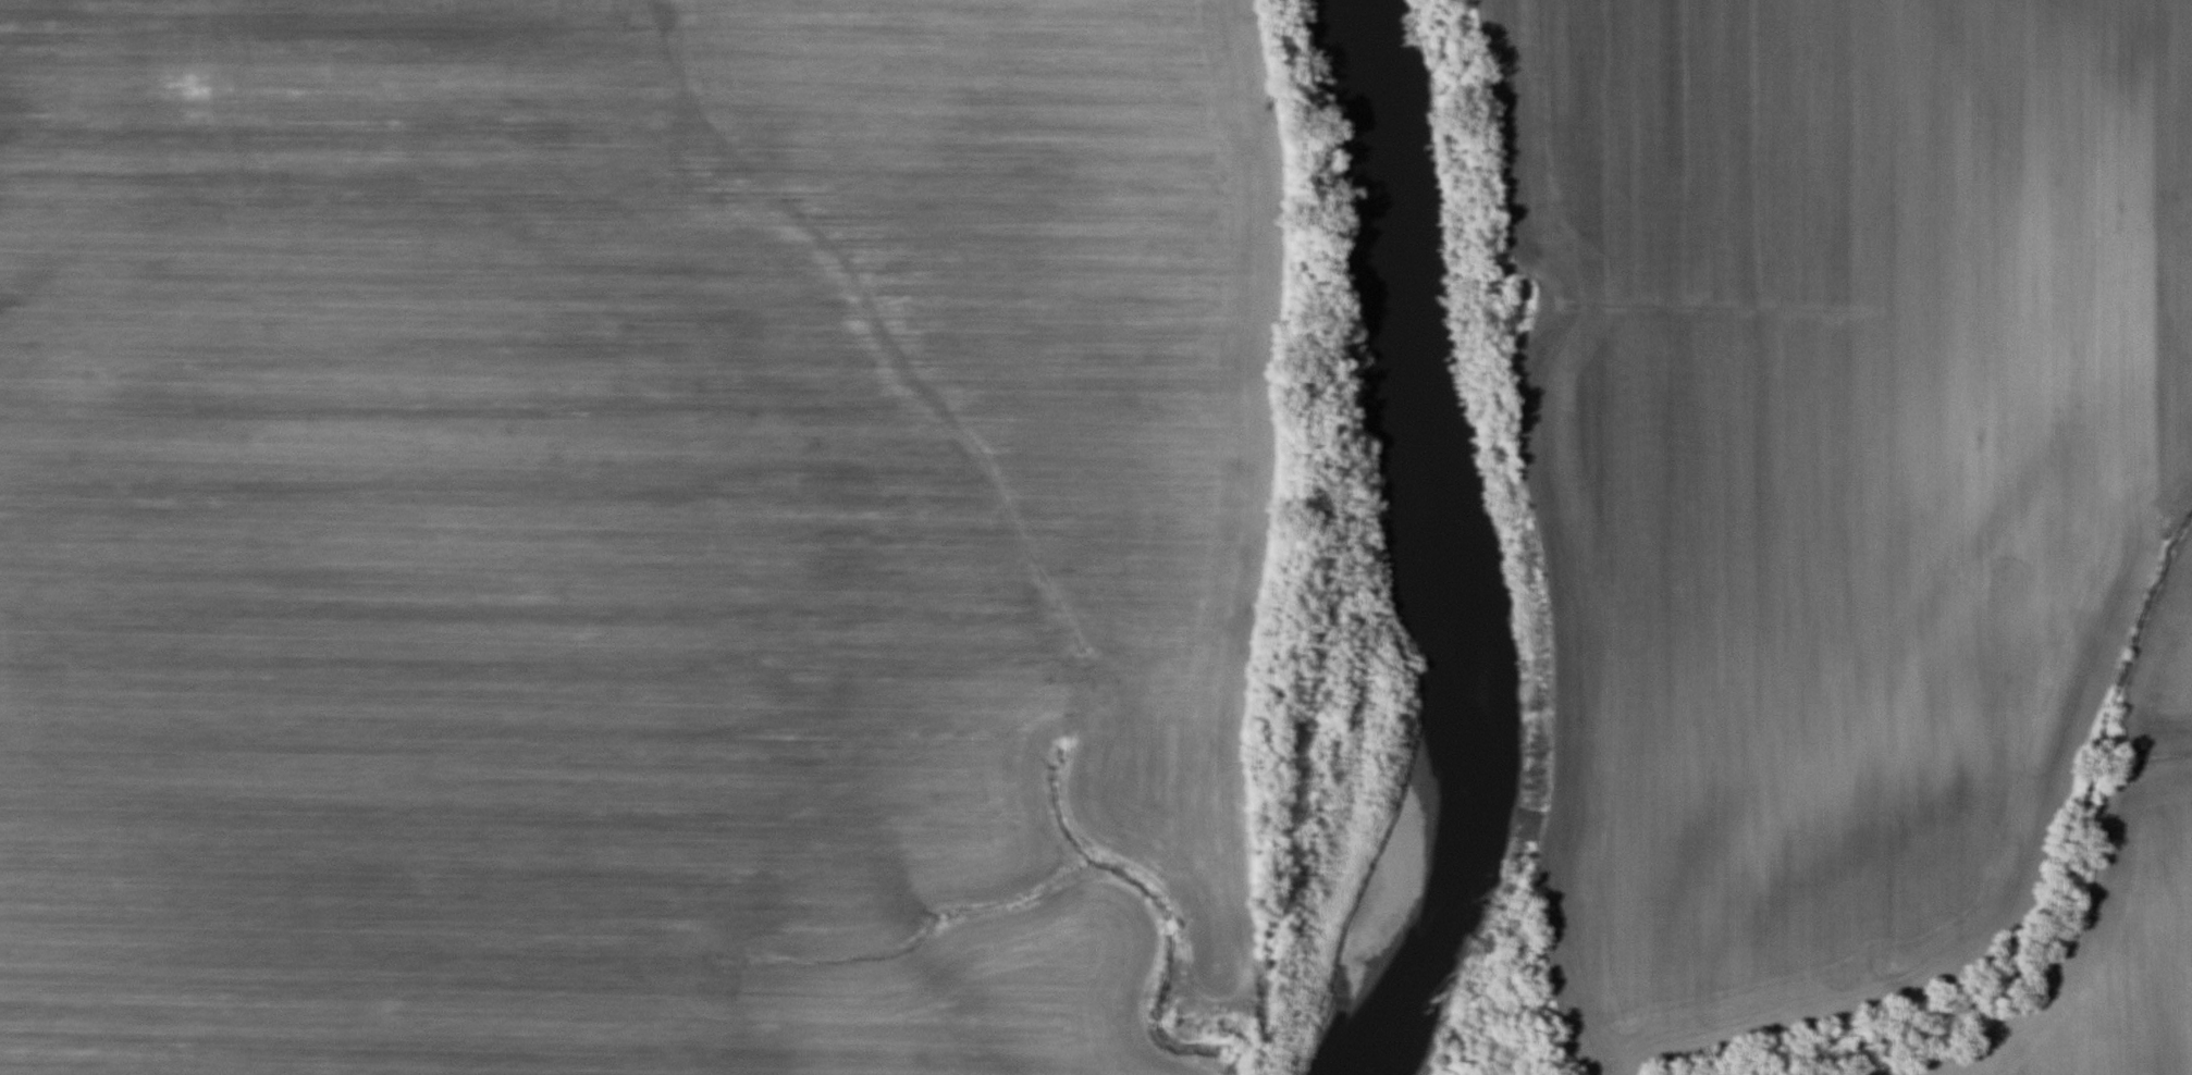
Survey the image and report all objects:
river: (1453, 545)

